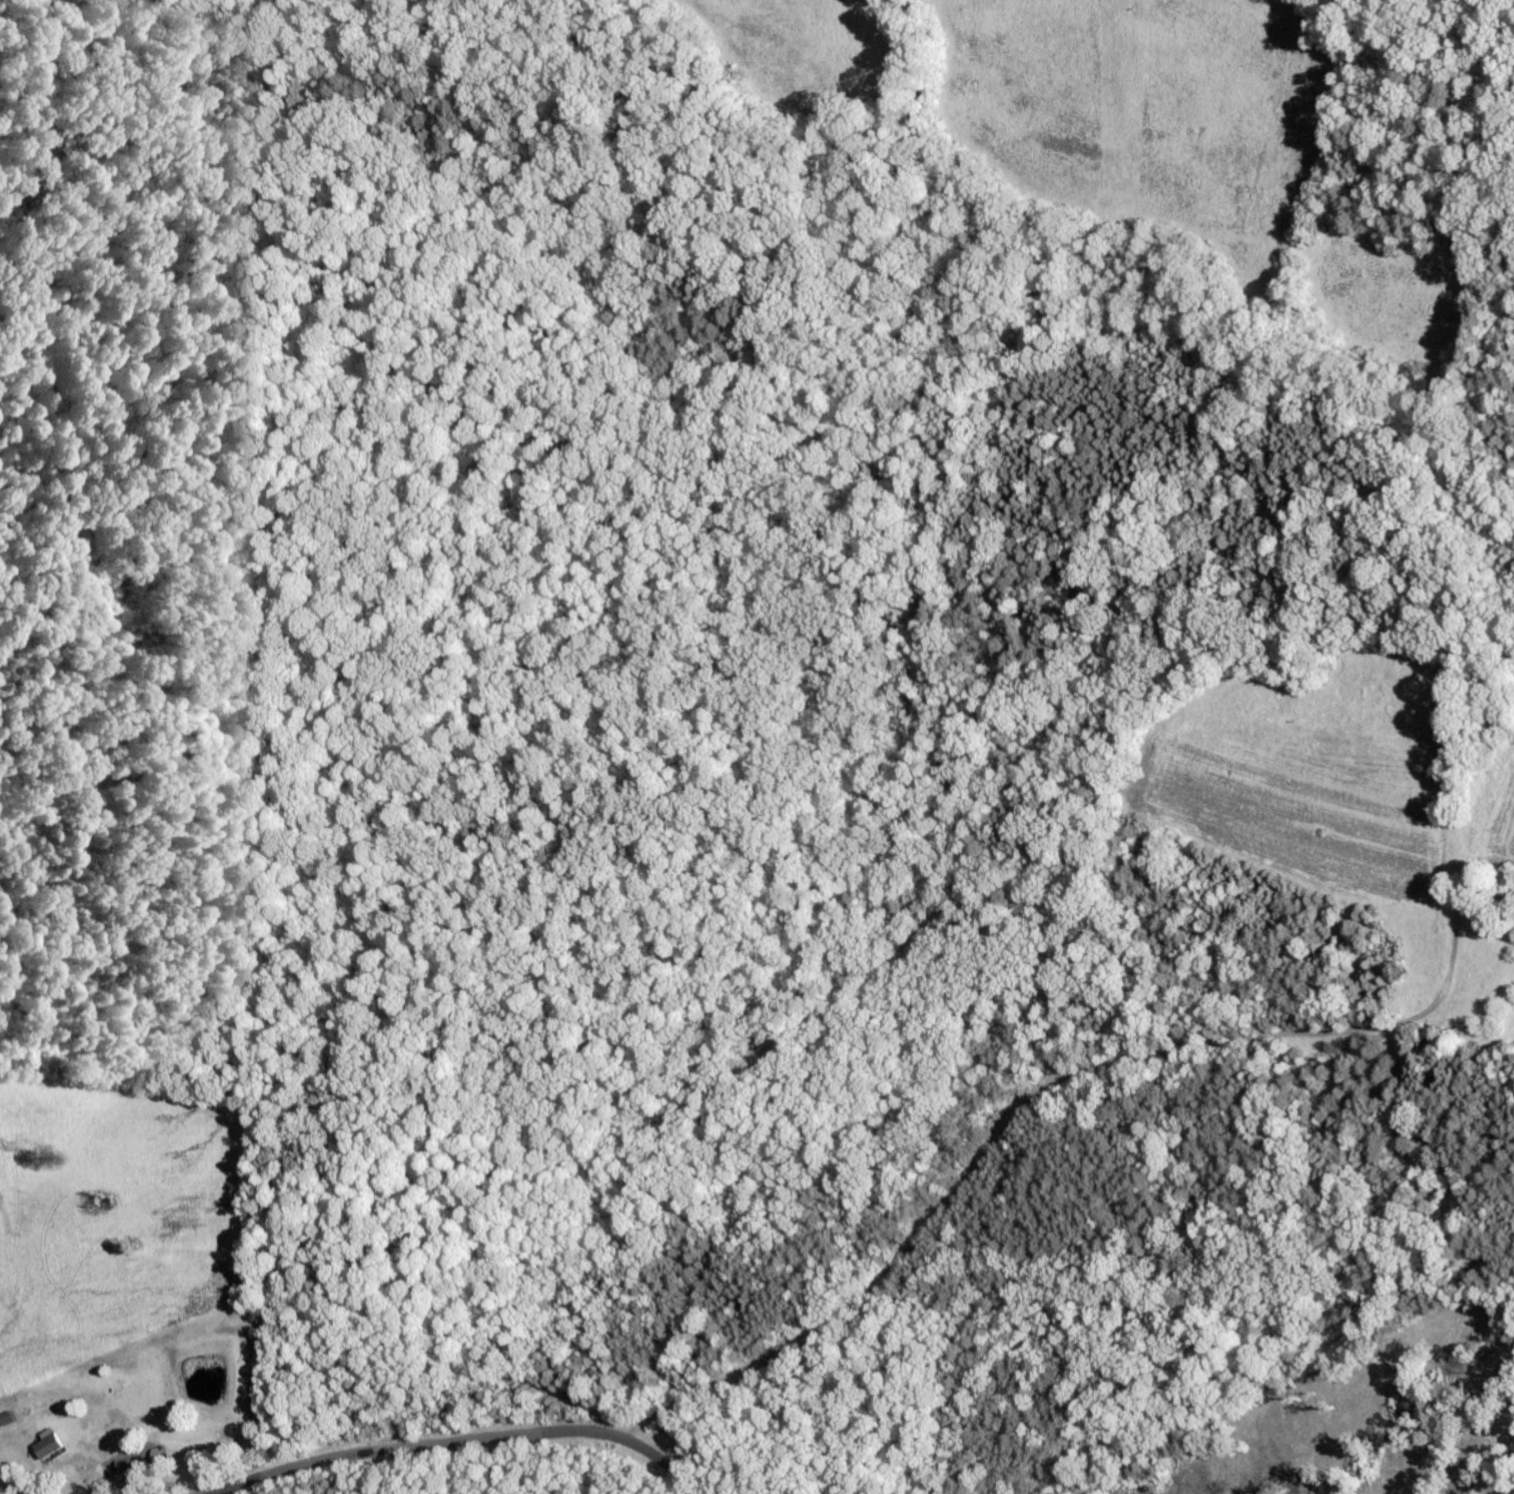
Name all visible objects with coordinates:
road: (971, 1166)
building: (6, 1418)
road: (464, 1443)
building: (47, 1444)

